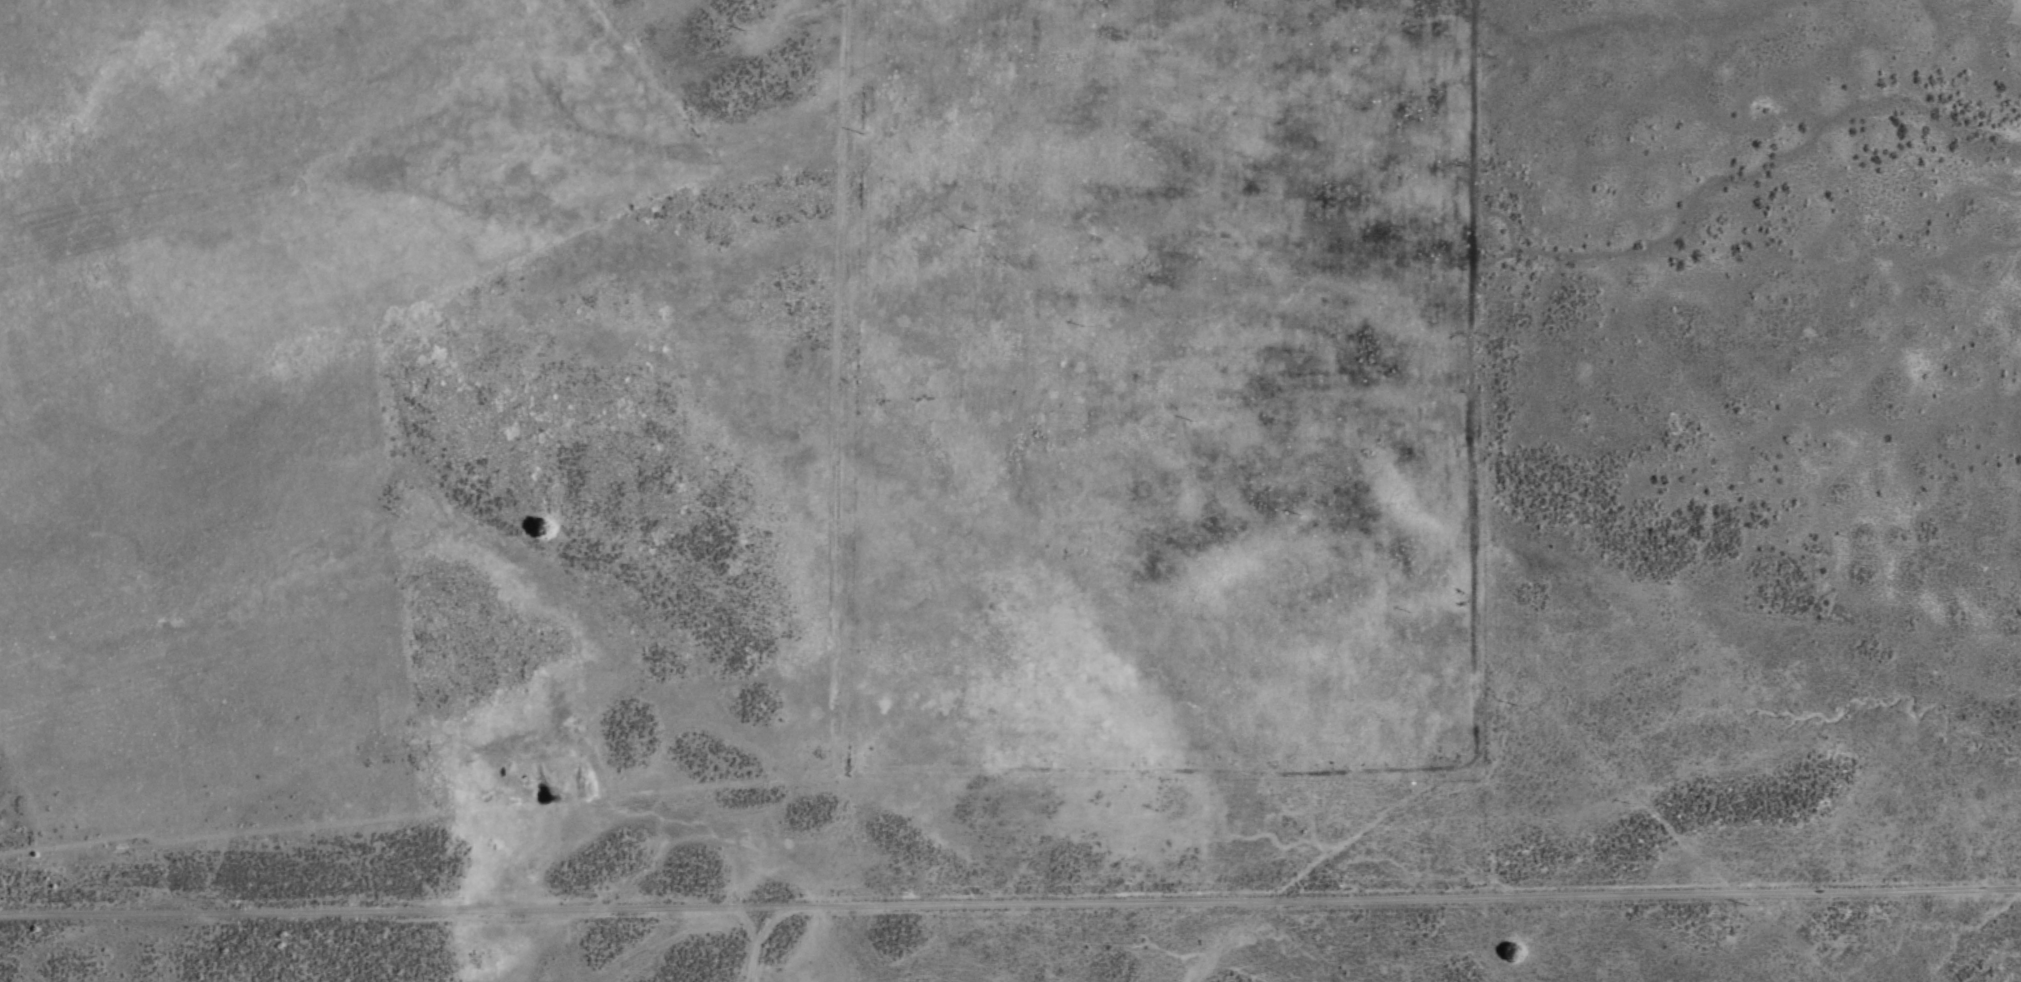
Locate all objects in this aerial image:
crop: (967, 467)
road: (1010, 876)
road: (763, 931)

